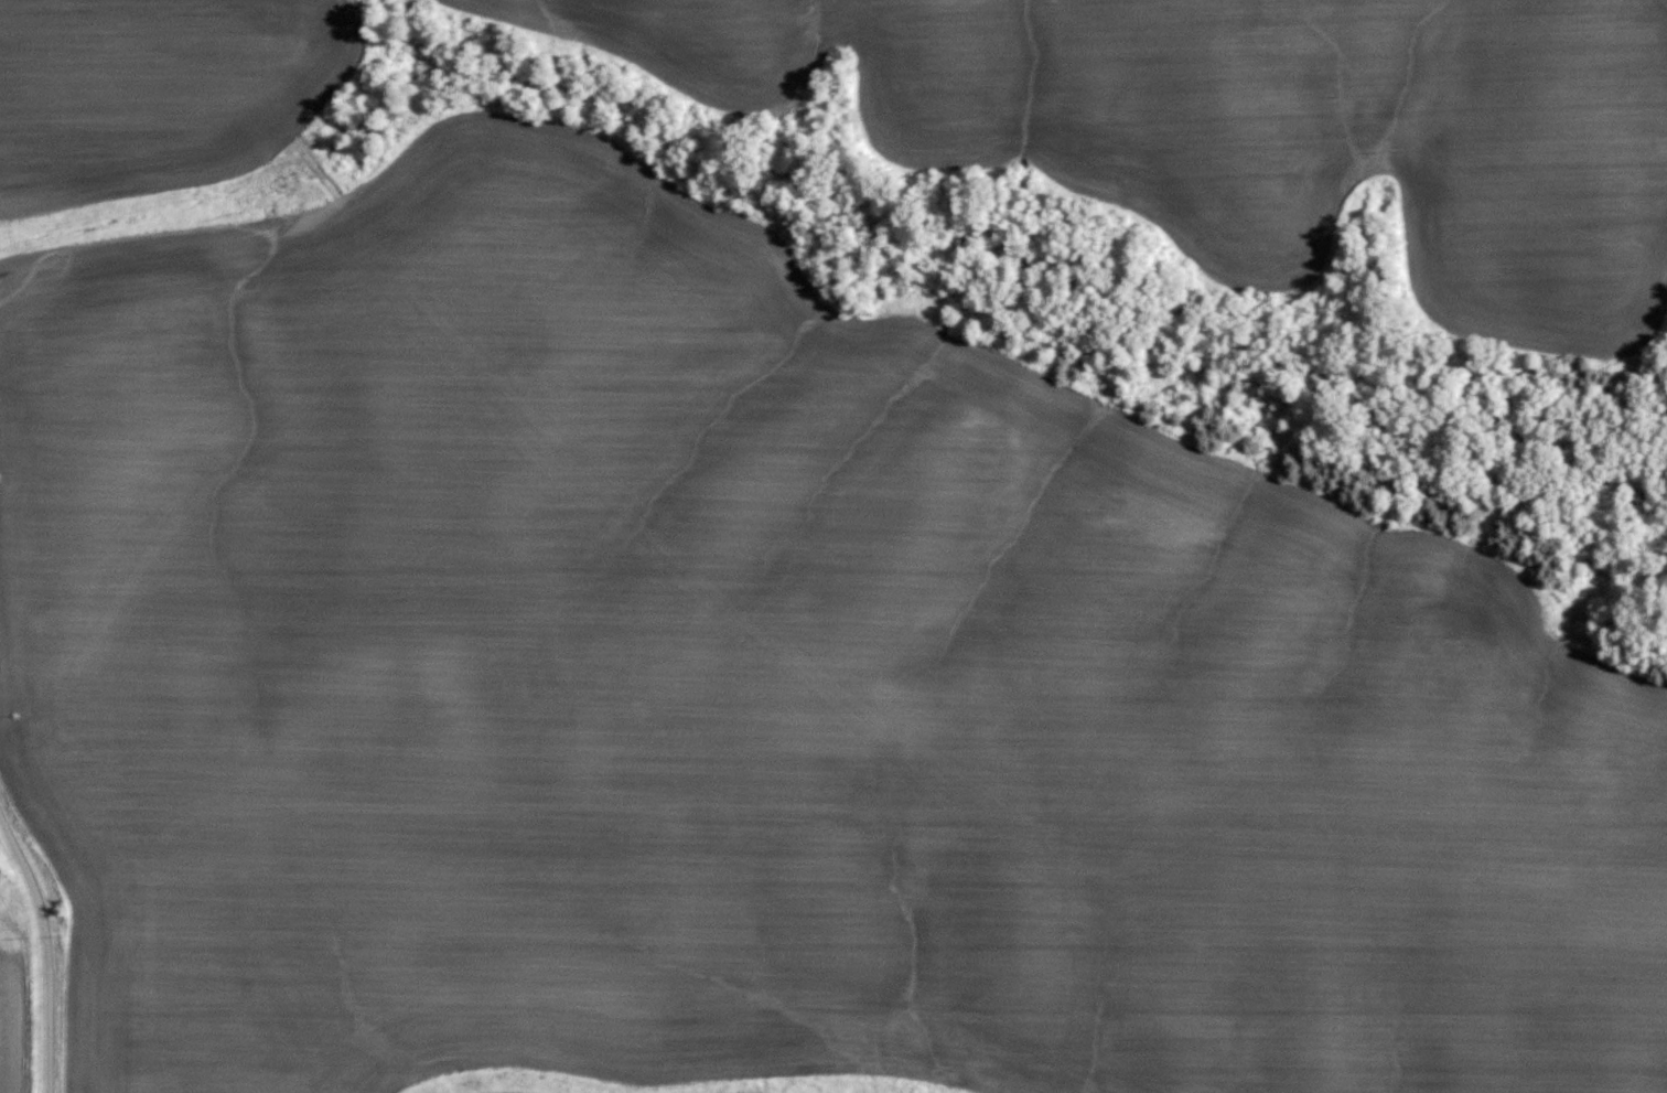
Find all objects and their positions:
road: (46, 949)

